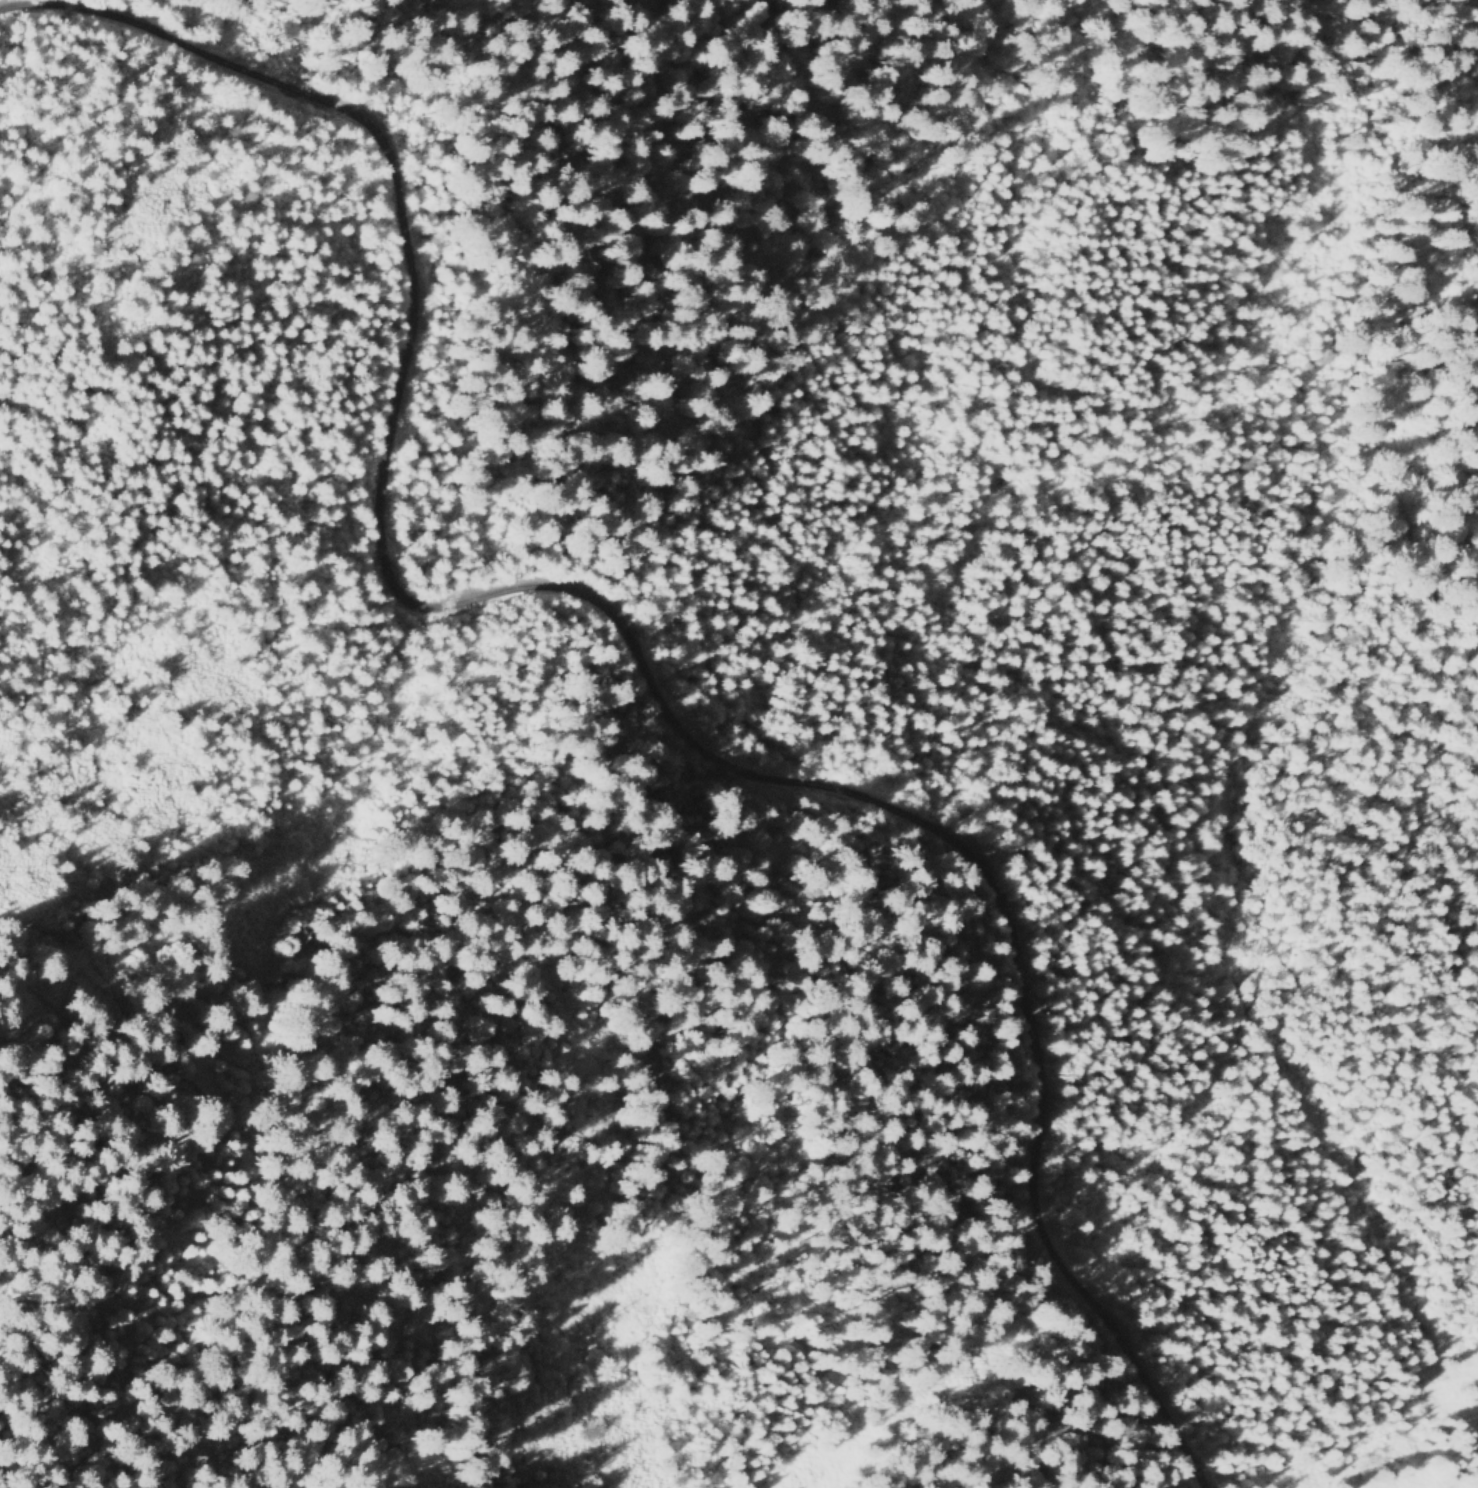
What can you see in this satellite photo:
road: (627, 629)

